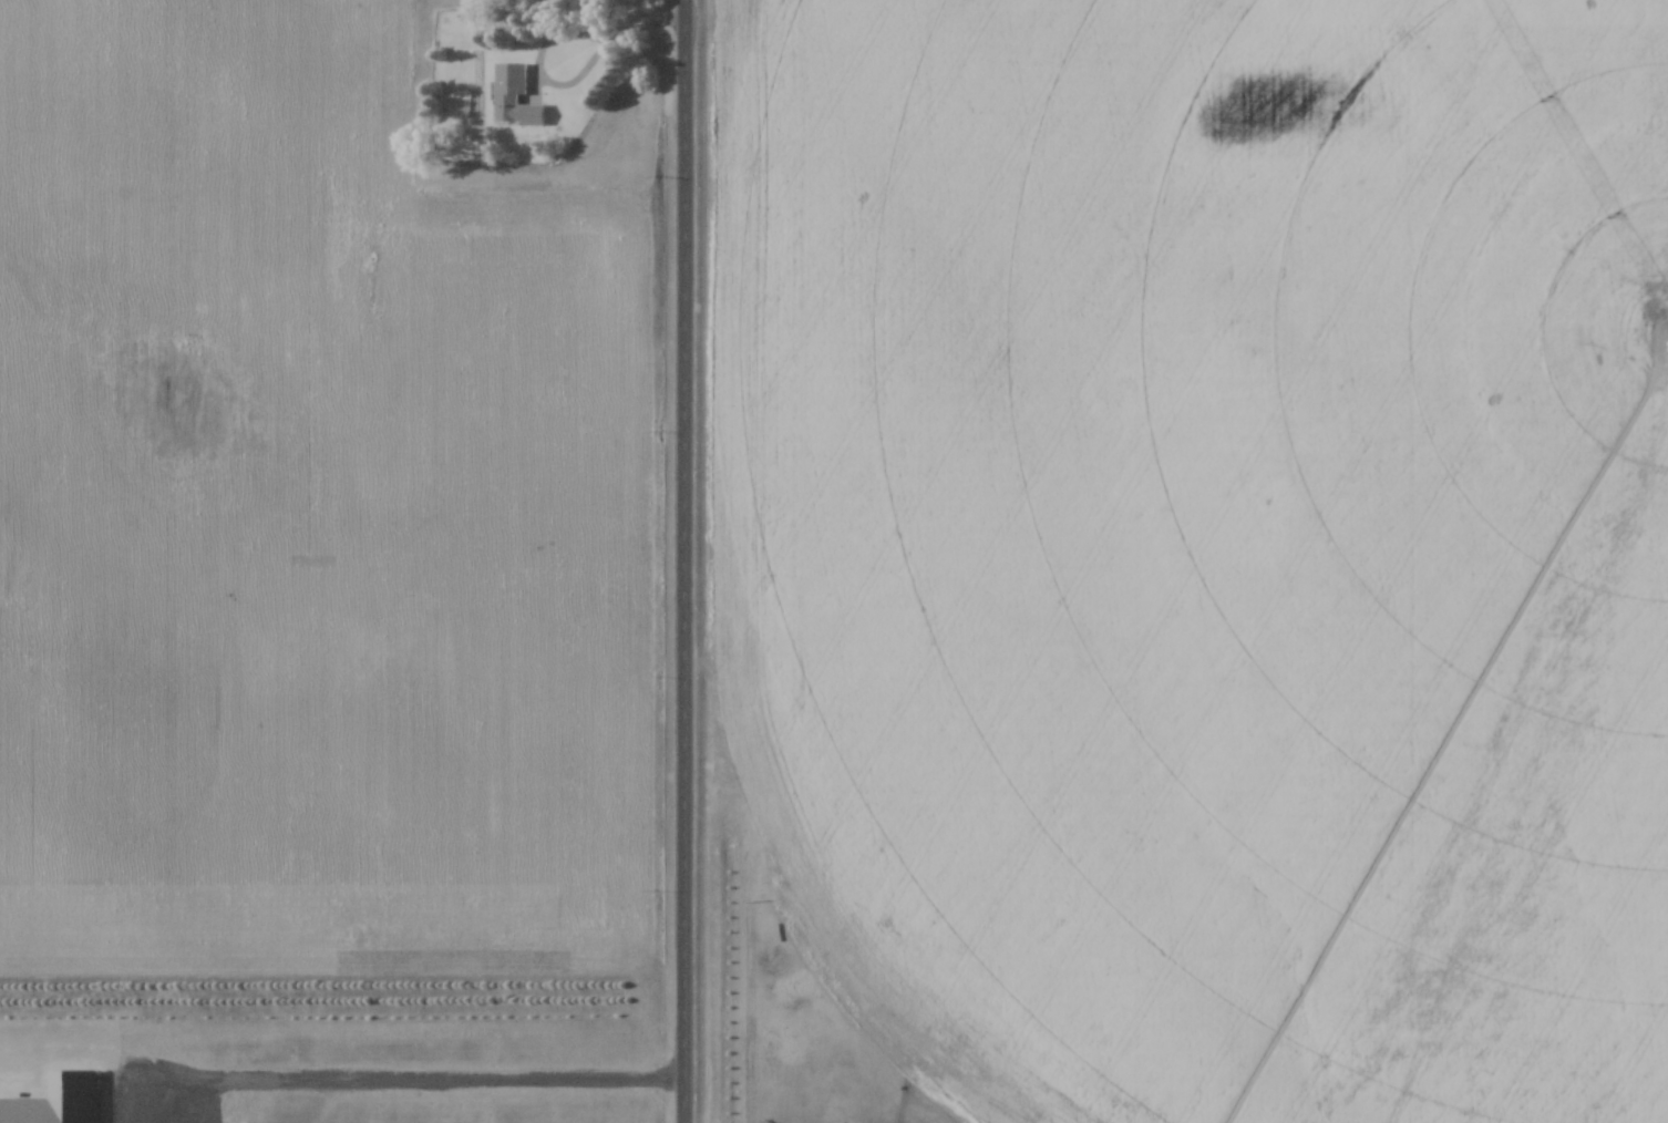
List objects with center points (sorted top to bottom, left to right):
building: (517, 97)
road: (688, 561)

